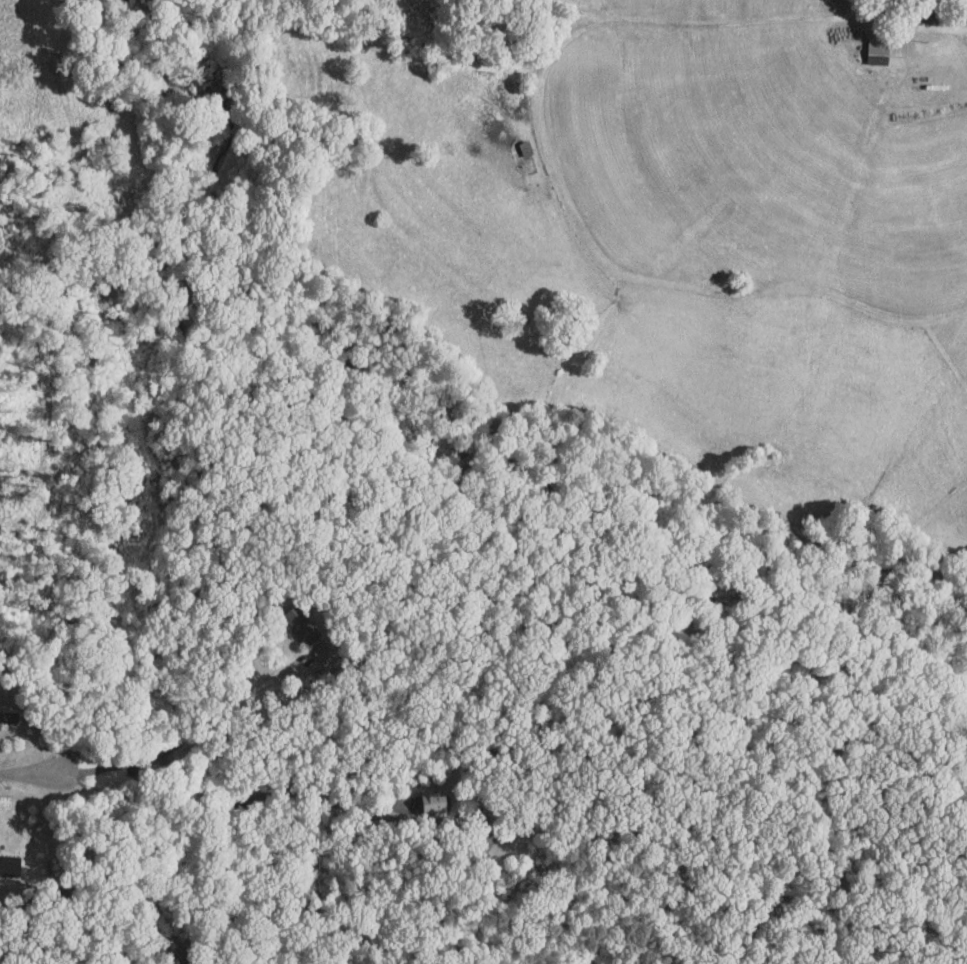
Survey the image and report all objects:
road: (904, 17)
building: (868, 44)
building: (287, 618)
road: (228, 707)
road: (29, 771)
building: (422, 795)
road: (256, 796)
building: (4, 859)

